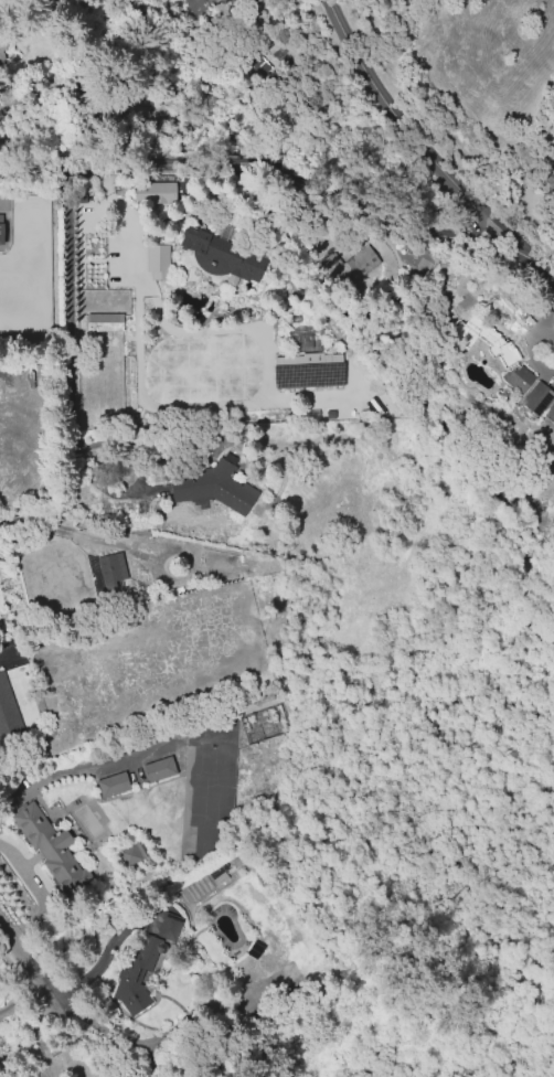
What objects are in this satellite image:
building: (196, 4)
building: (1, 50)
road: (401, 118)
road: (288, 175)
building: (551, 184)
building: (158, 192)
building: (1, 228)
building: (216, 256)
building: (157, 263)
building: (348, 266)
building: (95, 269)
building: (104, 321)
building: (498, 354)
road: (70, 356)
building: (309, 375)
building: (534, 402)
building: (214, 486)
building: (387, 508)
building: (114, 576)
building: (86, 674)
building: (6, 700)
building: (203, 726)
building: (210, 740)
building: (158, 770)
building: (113, 786)
building: (52, 850)
building: (132, 855)
building: (220, 875)
road: (39, 892)
building: (168, 925)
road: (30, 971)
building: (135, 973)
road: (36, 1034)

